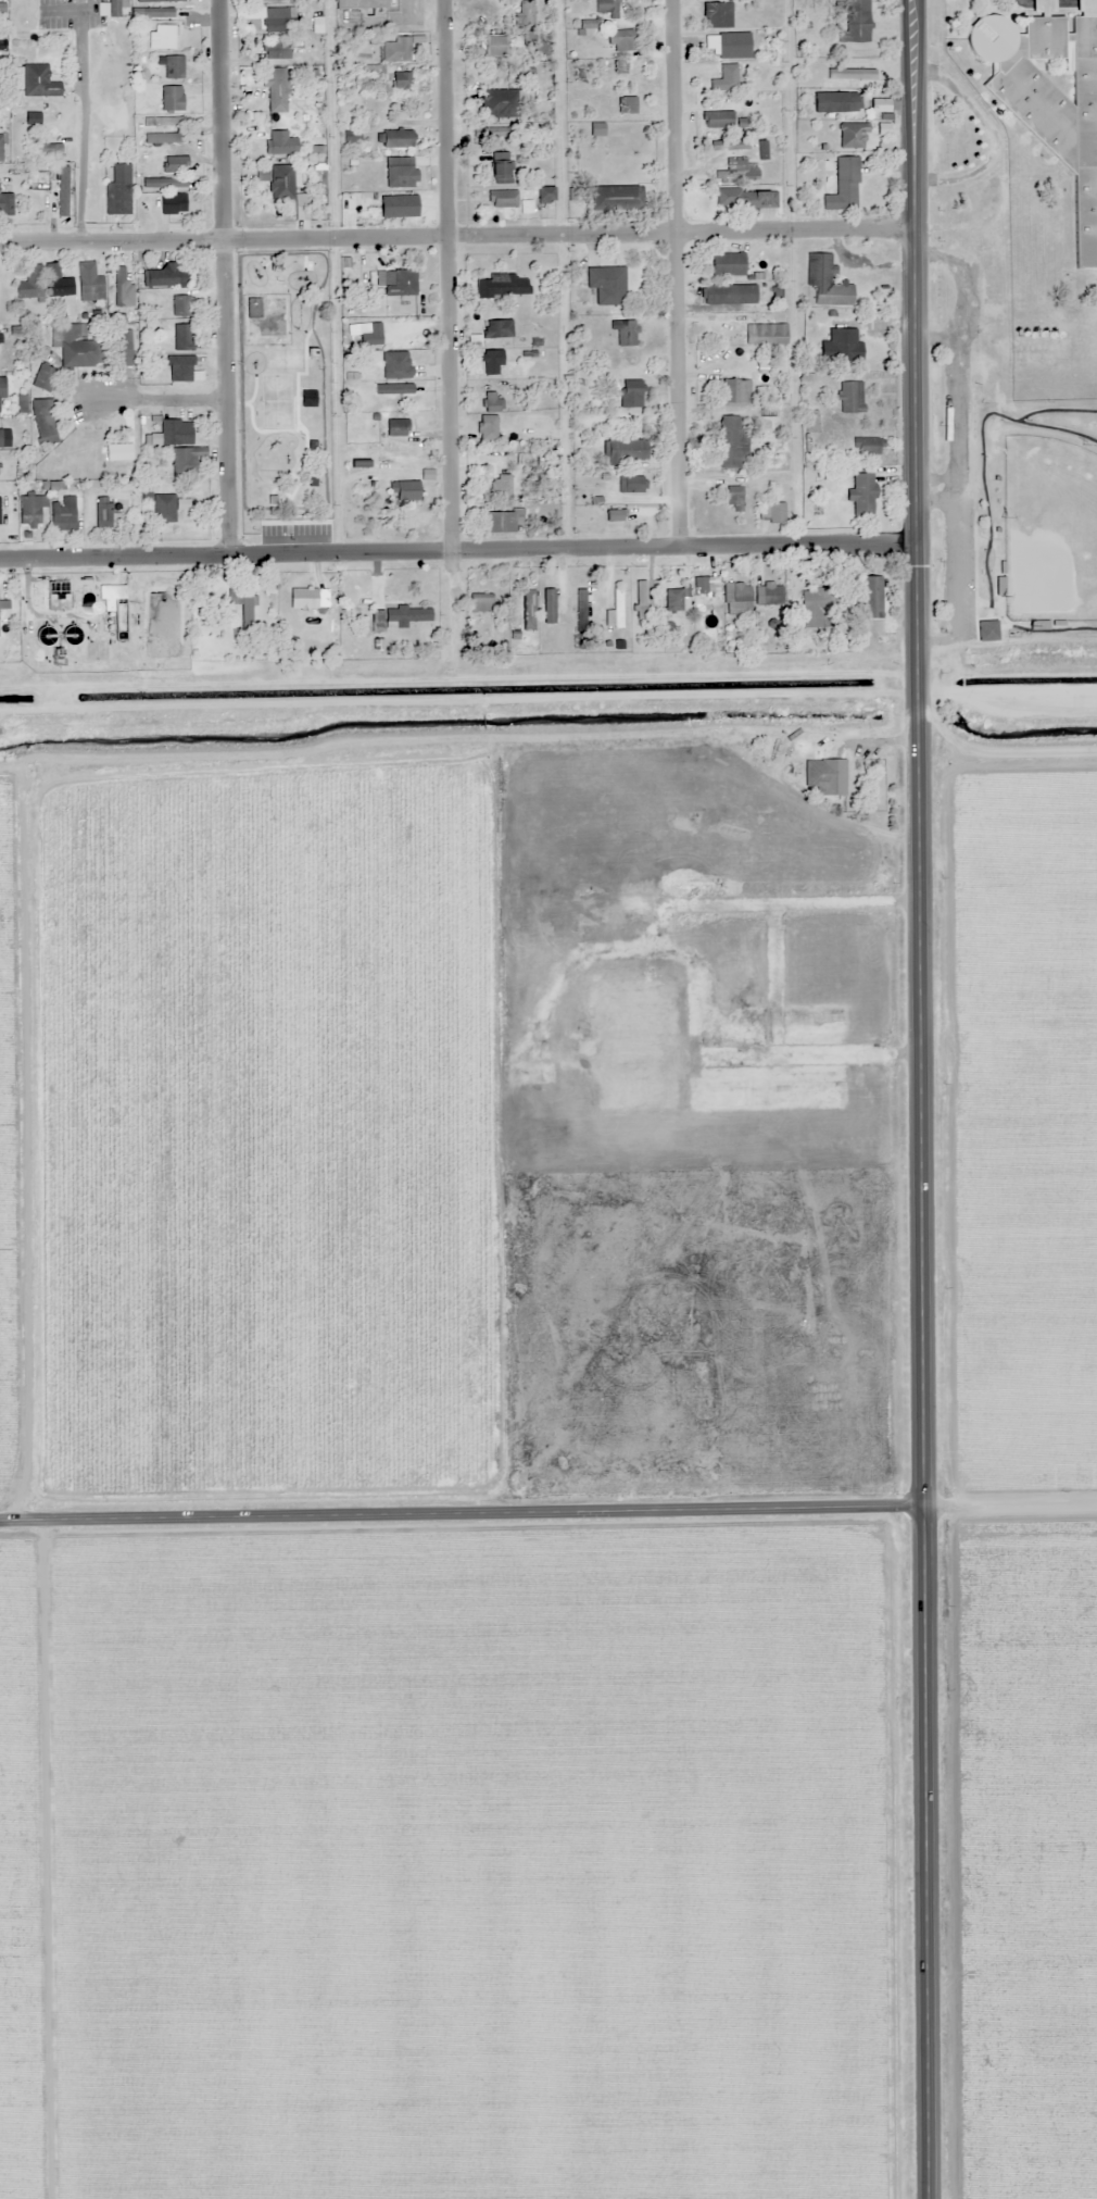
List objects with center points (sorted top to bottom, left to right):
building: (155, 0)
building: (243, 0)
building: (361, 3)
building: (605, 8)
building: (153, 11)
building: (524, 12)
building: (715, 14)
building: (266, 16)
building: (852, 21)
building: (588, 23)
building: (160, 36)
building: (618, 39)
building: (535, 43)
building: (491, 45)
building: (726, 45)
building: (276, 49)
building: (399, 49)
building: (172, 66)
building: (614, 66)
building: (400, 79)
building: (40, 82)
building: (275, 87)
building: (169, 97)
building: (1051, 97)
building: (835, 101)
building: (499, 102)
building: (627, 104)
road: (444, 117)
building: (717, 120)
building: (162, 122)
building: (595, 129)
building: (491, 132)
building: (852, 135)
building: (159, 137)
building: (350, 137)
building: (394, 138)
building: (278, 141)
building: (728, 143)
building: (1, 148)
building: (173, 164)
building: (500, 167)
building: (736, 170)
building: (399, 175)
building: (39, 180)
building: (281, 182)
building: (164, 183)
building: (842, 184)
building: (119, 190)
building: (543, 192)
building: (615, 197)
building: (724, 197)
building: (501, 198)
building: (754, 198)
building: (174, 203)
building: (5, 204)
building: (388, 208)
building: (1025, 224)
road: (456, 235)
building: (726, 263)
road: (673, 272)
building: (162, 275)
road: (220, 276)
building: (59, 282)
building: (396, 282)
building: (824, 282)
building: (30, 283)
building: (606, 284)
building: (503, 285)
building: (121, 286)
building: (1012, 286)
building: (92, 288)
building: (727, 293)
building: (182, 305)
building: (254, 308)
building: (1052, 318)
building: (496, 328)
building: (625, 333)
building: (184, 337)
road: (913, 337)
building: (842, 345)
building: (75, 346)
building: (1090, 347)
building: (124, 348)
building: (1036, 350)
building: (394, 352)
building: (491, 361)
building: (180, 368)
building: (45, 378)
building: (733, 390)
building: (2, 392)
building: (630, 393)
park: (285, 395)
building: (849, 397)
road: (155, 399)
building: (491, 405)
building: (809, 421)
building: (45, 422)
road: (447, 422)
building: (396, 425)
building: (177, 432)
building: (1, 438)
building: (731, 442)
building: (863, 446)
building: (623, 450)
building: (119, 455)
building: (186, 460)
building: (497, 478)
building: (631, 484)
building: (405, 490)
building: (861, 493)
building: (733, 498)
building: (185, 504)
building: (165, 509)
building: (33, 511)
building: (774, 512)
building: (64, 514)
building: (106, 514)
building: (406, 518)
building: (502, 521)
park: (1035, 522)
park: (1048, 527)
road: (682, 545)
railway: (61, 552)
road: (224, 553)
building: (699, 584)
building: (113, 591)
building: (735, 594)
building: (771, 595)
building: (869, 596)
building: (304, 598)
building: (639, 600)
building: (671, 600)
building: (479, 601)
building: (546, 605)
building: (814, 605)
building: (243, 607)
building: (581, 607)
building: (614, 610)
building: (514, 611)
building: (405, 615)
building: (985, 629)
building: (48, 635)
building: (823, 776)
road: (928, 1437)
road: (548, 1516)

